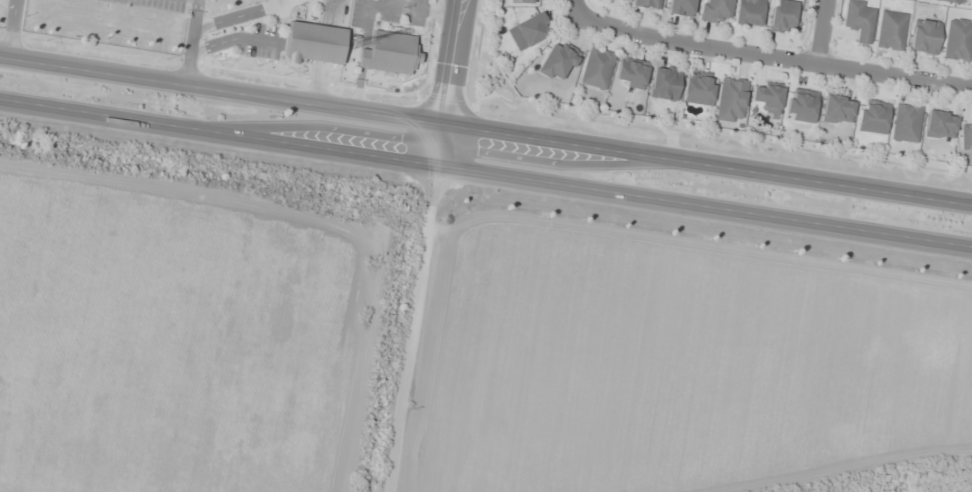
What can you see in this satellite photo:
building: (625, 0)
building: (527, 1)
building: (951, 1)
building: (647, 4)
road: (578, 5)
building: (680, 8)
building: (714, 11)
building: (748, 13)
building: (782, 16)
building: (859, 19)
building: (530, 30)
road: (821, 31)
building: (890, 31)
building: (924, 36)
building: (957, 40)
building: (313, 43)
road: (774, 56)
building: (557, 61)
building: (384, 62)
building: (596, 68)
building: (631, 74)
building: (664, 83)
road: (448, 84)
building: (698, 90)
building: (767, 97)
building: (730, 100)
building: (800, 105)
building: (837, 109)
building: (872, 116)
building: (905, 123)
building: (939, 125)
road: (486, 130)
building: (966, 136)
road: (485, 176)

